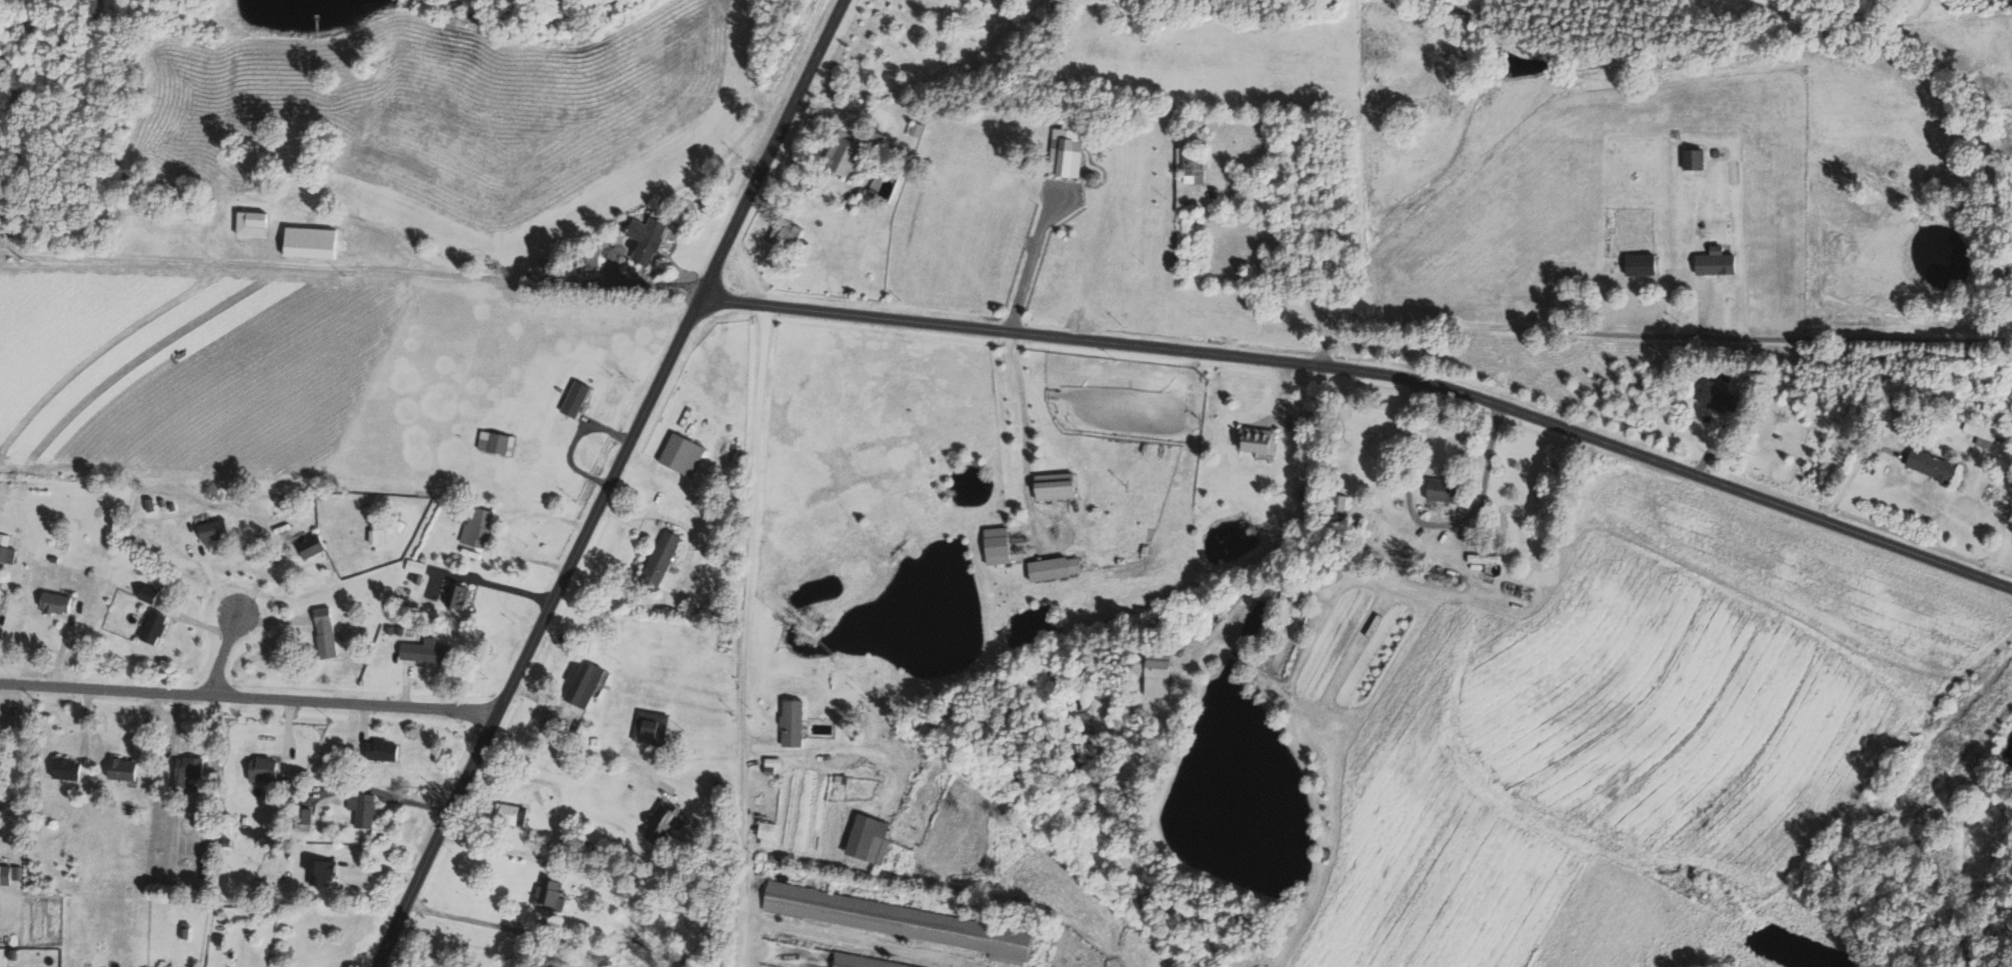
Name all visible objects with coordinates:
road: (934, 75)
road: (847, 104)
building: (919, 129)
building: (1069, 149)
building: (847, 155)
building: (1696, 159)
building: (1195, 168)
building: (254, 224)
building: (778, 235)
building: (648, 239)
building: (313, 243)
road: (1282, 253)
road: (1031, 260)
building: (1718, 262)
building: (1643, 264)
road: (359, 278)
road: (1652, 337)
road: (1373, 375)
building: (578, 399)
building: (1724, 399)
building: (1983, 431)
road: (1026, 437)
building: (1259, 440)
building: (498, 442)
road: (572, 442)
building: (684, 455)
building: (1934, 466)
road: (1853, 473)
road: (609, 482)
building: (1058, 486)
building: (1449, 491)
road: (1431, 524)
building: (479, 527)
road: (511, 527)
building: (215, 530)
building: (379, 536)
building: (999, 545)
building: (313, 546)
building: (7, 549)
building: (1486, 559)
building: (663, 560)
building: (416, 566)
building: (1057, 568)
road: (496, 585)
building: (0, 592)
building: (151, 594)
building: (459, 597)
building: (58, 603)
building: (156, 627)
building: (327, 632)
road: (744, 637)
road: (227, 647)
building: (427, 652)
building: (1160, 679)
building: (585, 683)
road: (248, 698)
building: (795, 723)
building: (651, 727)
road: (577, 743)
building: (383, 751)
building: (774, 765)
building: (124, 769)
building: (265, 769)
building: (69, 770)
building: (189, 771)
road: (388, 783)
building: (364, 810)
building: (512, 815)
building: (663, 822)
building: (769, 835)
building: (871, 840)
building: (325, 872)
building: (11, 873)
building: (550, 894)
road: (467, 918)
building: (906, 921)
road: (461, 947)
building: (820, 957)

